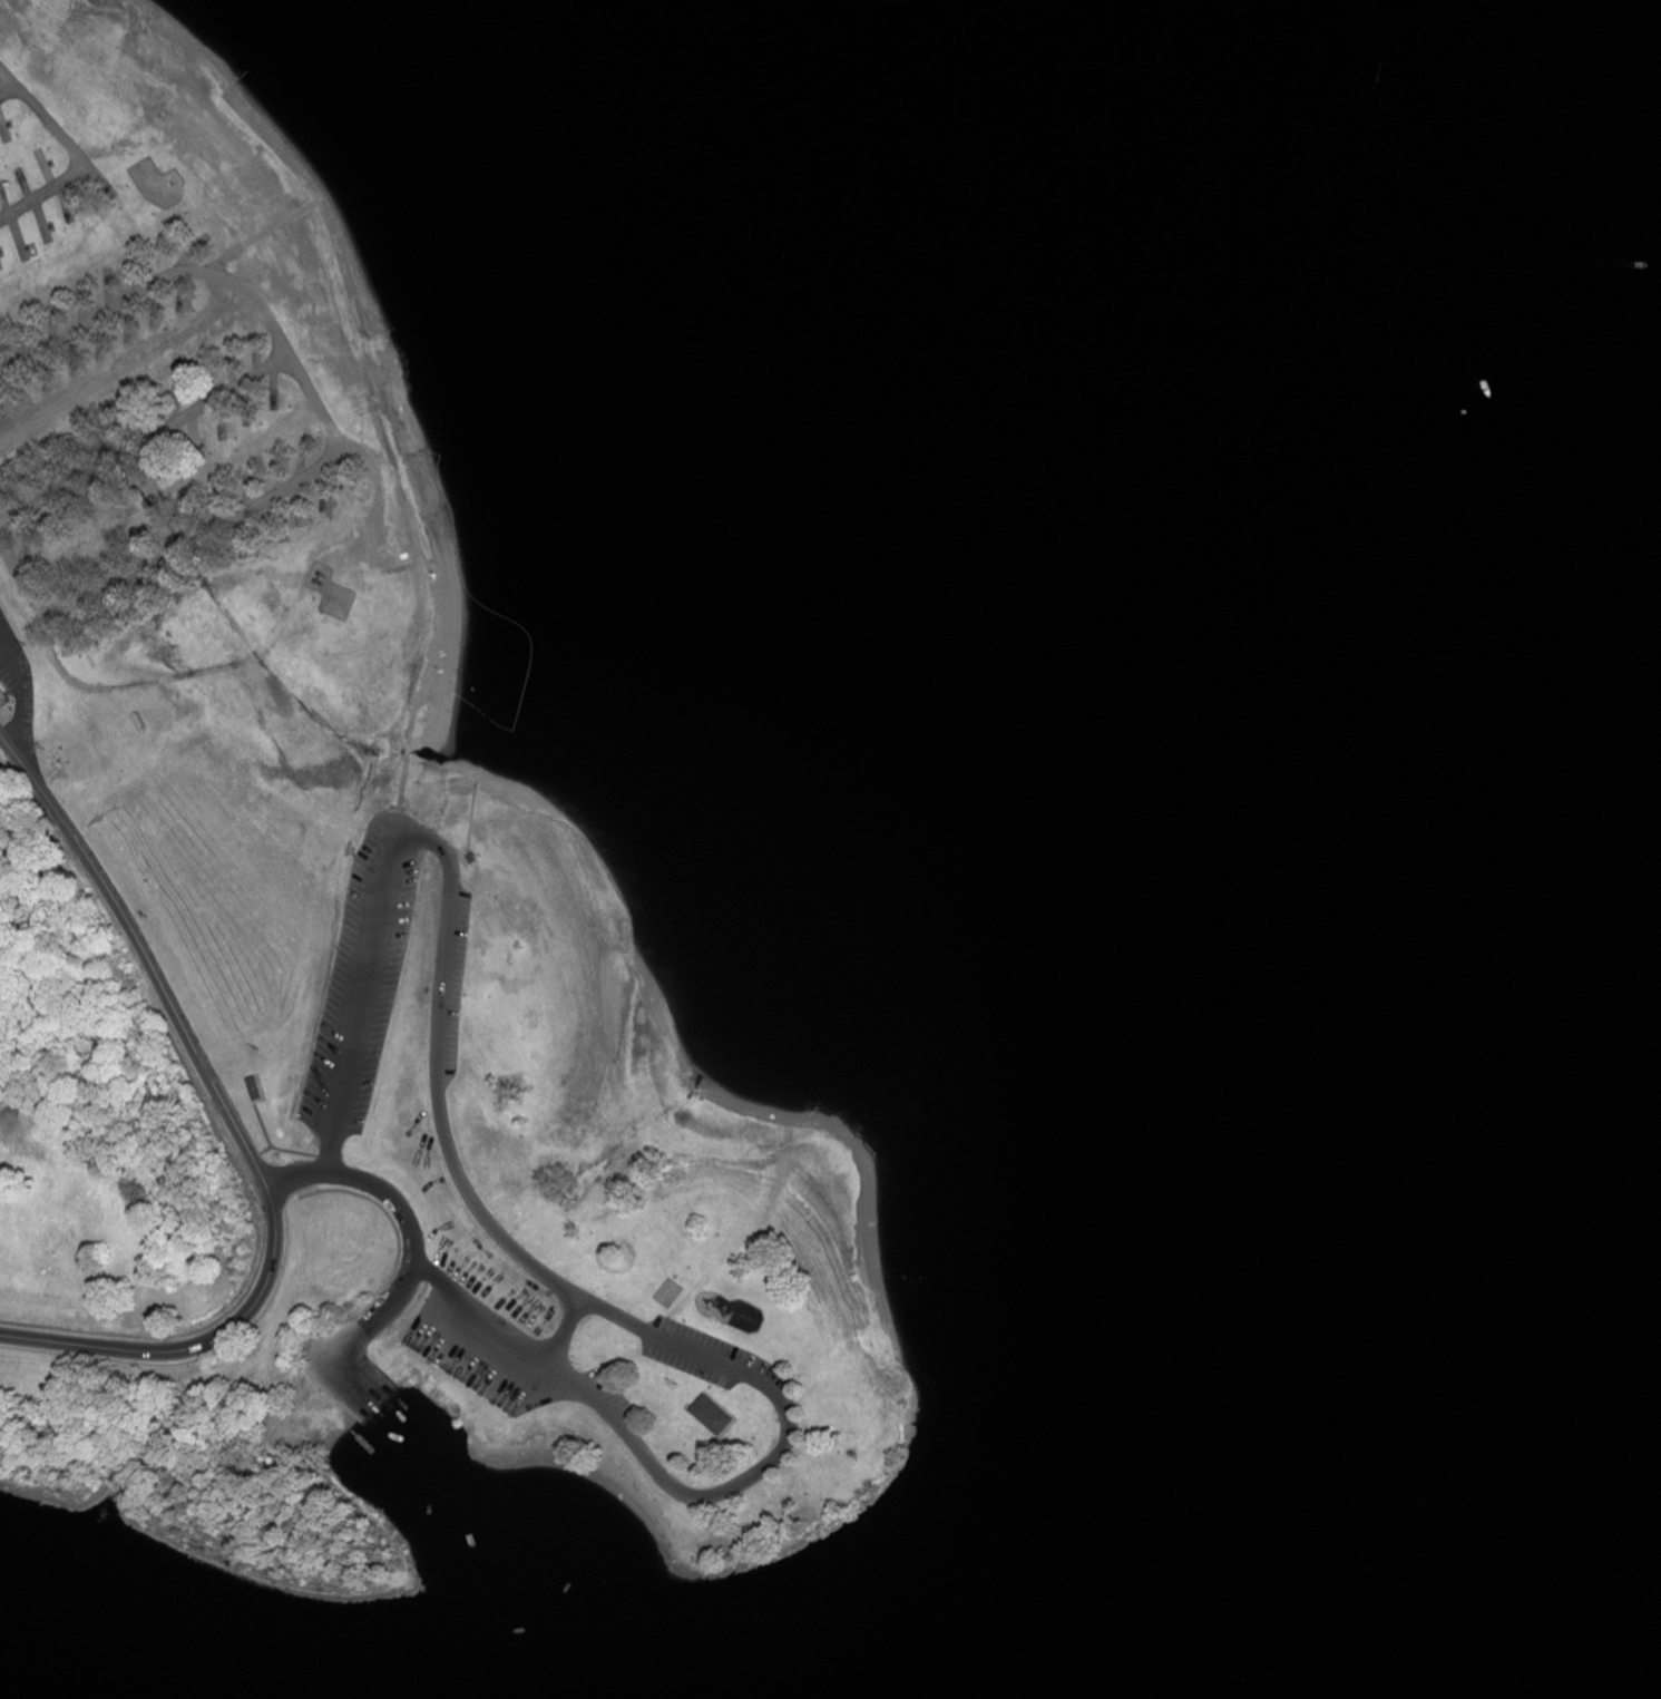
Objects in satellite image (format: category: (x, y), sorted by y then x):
road: (11, 92)
road: (77, 147)
road: (126, 368)
road: (331, 421)
road: (147, 436)
road: (172, 488)
road: (25, 683)
building: (4, 692)
road: (16, 743)
road: (48, 781)
park: (336, 933)
road: (451, 936)
road: (261, 1173)
road: (383, 1197)
road: (371, 1318)
building: (717, 1414)
road: (703, 1495)

